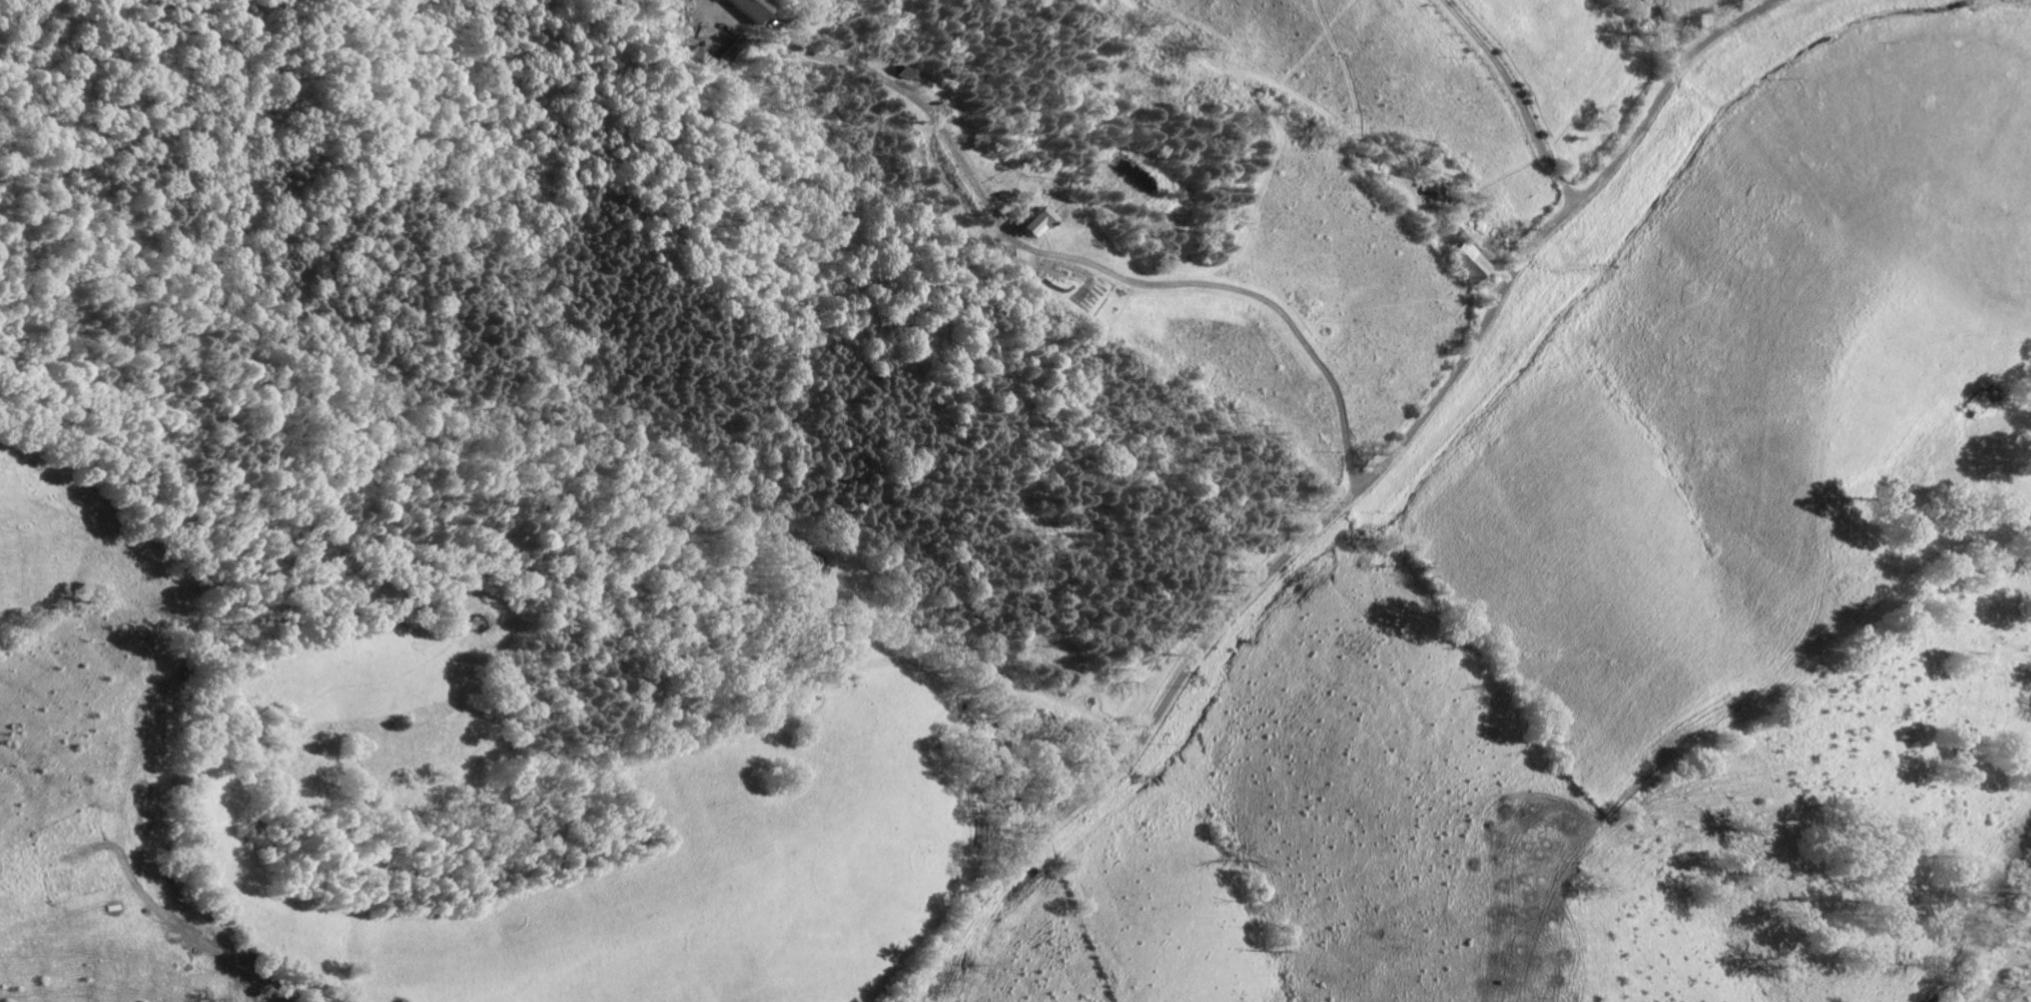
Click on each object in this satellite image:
building: (755, 8)
road: (1514, 98)
building: (1037, 223)
road: (1074, 261)
building: (1471, 264)
road: (1346, 503)

